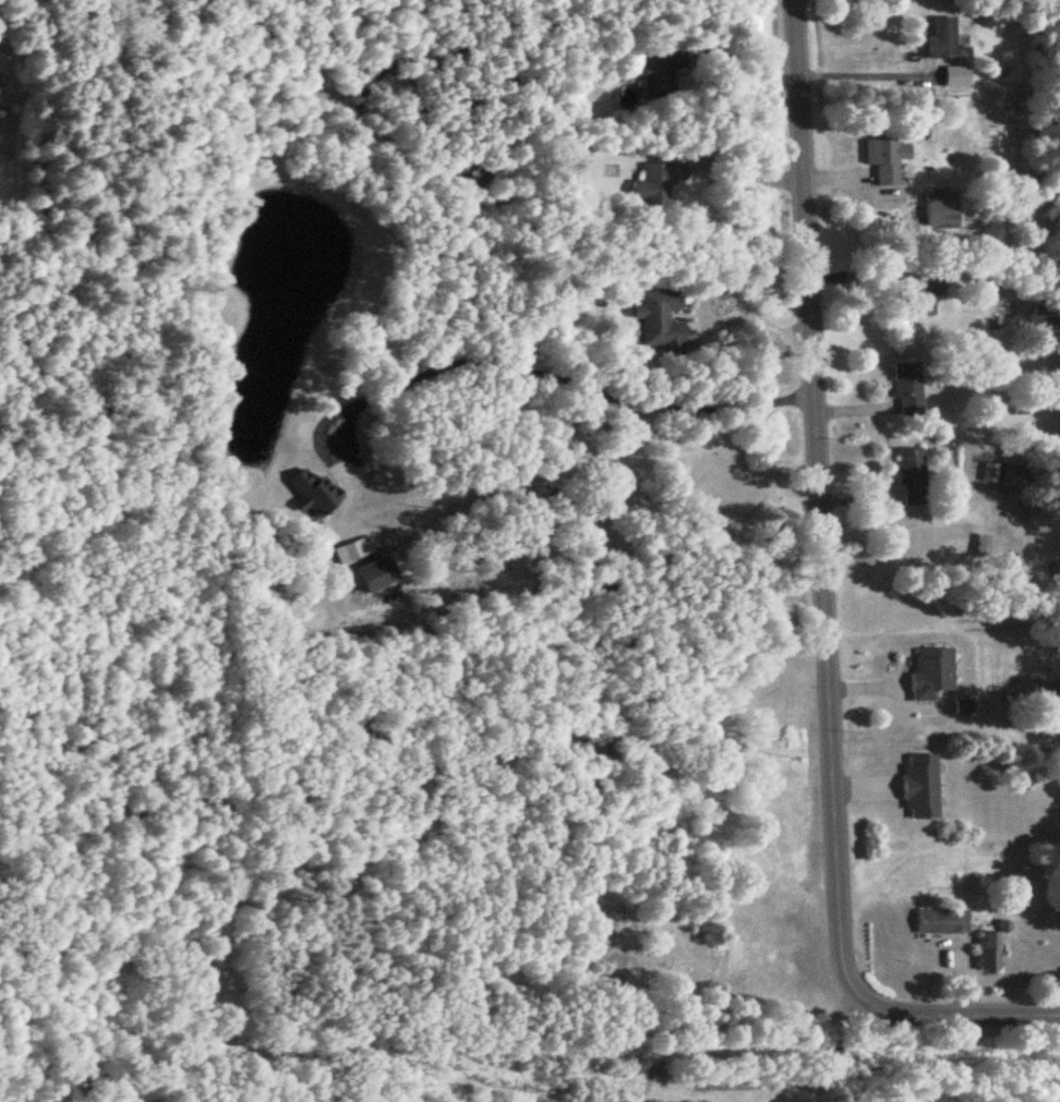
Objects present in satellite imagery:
building: (947, 38)
building: (662, 72)
road: (865, 75)
building: (959, 77)
building: (889, 152)
road: (746, 177)
building: (658, 184)
road: (726, 287)
building: (920, 293)
building: (661, 320)
road: (532, 372)
building: (908, 387)
building: (913, 476)
building: (1011, 480)
building: (315, 495)
road: (819, 531)
building: (353, 552)
building: (933, 673)
building: (923, 787)
building: (943, 922)
building: (990, 952)
road: (988, 1013)
road: (679, 1081)
road: (838, 1093)

